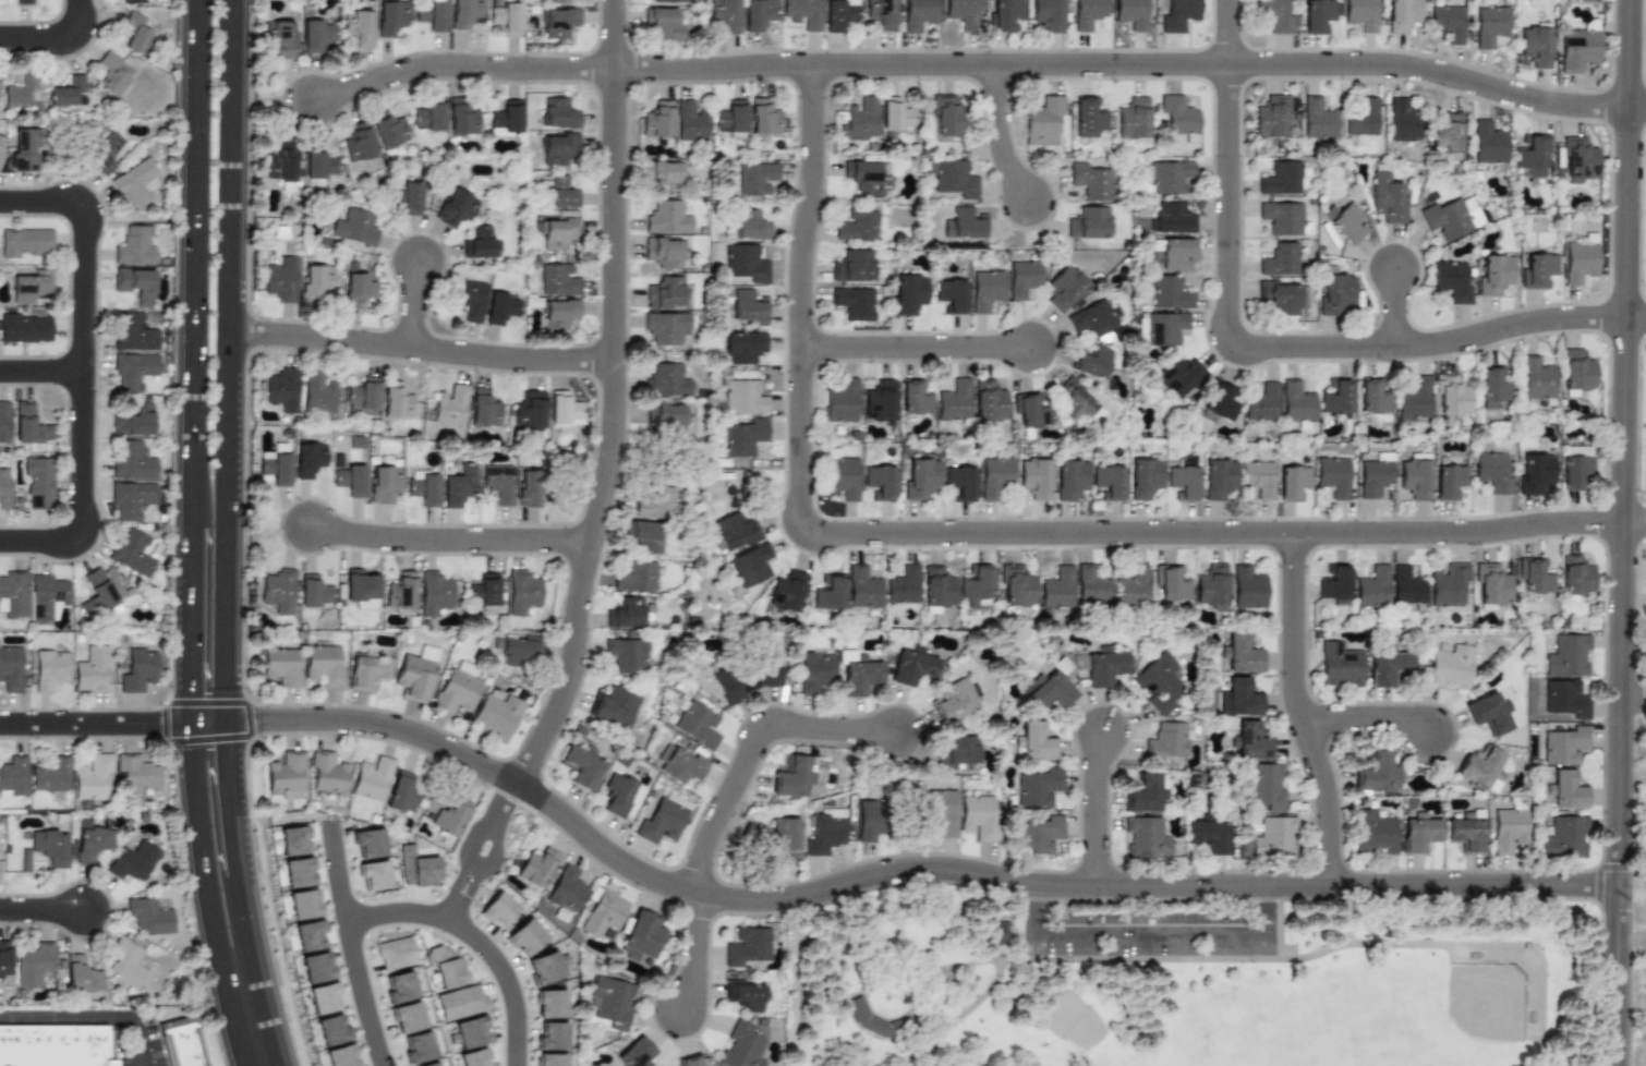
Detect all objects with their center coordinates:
building: (667, 0)
building: (23, 1)
building: (132, 1)
building: (558, 1)
building: (464, 13)
building: (802, 13)
building: (881, 13)
building: (963, 13)
building: (1088, 13)
building: (1131, 13)
building: (433, 14)
building: (725, 14)
building: (758, 14)
building: (838, 14)
building: (918, 14)
building: (1048, 14)
building: (1361, 14)
building: (1005, 15)
building: (1179, 15)
building: (1274, 15)
building: (1318, 15)
building: (1402, 15)
building: (391, 17)
building: (507, 17)
building: (559, 22)
building: (1448, 23)
building: (663, 24)
building: (1489, 25)
building: (358, 26)
building: (136, 33)
building: (316, 35)
road: (55, 38)
building: (279, 38)
building: (1536, 46)
building: (1578, 49)
street lamp: (47, 60)
road: (972, 65)
building: (111, 73)
building: (20, 88)
building: (66, 92)
road: (1638, 108)
building: (559, 113)
building: (895, 113)
building: (945, 114)
building: (1178, 114)
building: (428, 117)
building: (1089, 117)
building: (1271, 117)
building: (461, 118)
building: (763, 118)
building: (860, 118)
building: (1133, 118)
building: (1361, 118)
building: (506, 119)
building: (731, 119)
building: (1317, 119)
building: (657, 120)
building: (1402, 120)
building: (690, 121)
building: (1043, 121)
building: (388, 130)
building: (1447, 133)
road: (1002, 135)
building: (358, 143)
building: (1488, 143)
building: (24, 149)
building: (105, 149)
building: (559, 149)
building: (0, 153)
building: (1532, 155)
building: (1578, 159)
building: (319, 165)
building: (663, 174)
building: (1170, 177)
building: (755, 178)
building: (868, 178)
building: (953, 178)
building: (1280, 179)
street lamp: (59, 180)
building: (1090, 181)
building: (136, 183)
building: (561, 193)
building: (406, 197)
building: (1387, 198)
building: (456, 207)
building: (1452, 217)
building: (667, 218)
building: (1172, 218)
building: (1281, 218)
road: (141, 220)
building: (1345, 221)
building: (1088, 222)
building: (964, 223)
building: (750, 225)
building: (858, 226)
building: (354, 227)
building: (559, 233)
building: (25, 242)
building: (479, 242)
building: (135, 244)
building: (663, 252)
building: (1174, 252)
building: (1280, 259)
building: (1580, 262)
building: (745, 263)
building: (852, 266)
street lamp: (102, 267)
building: (1538, 270)
building: (1493, 274)
building: (1022, 278)
building: (281, 279)
building: (558, 279)
building: (316, 281)
building: (1452, 281)
building: (137, 283)
building: (31, 284)
building: (1065, 288)
building: (358, 290)
building: (985, 290)
building: (665, 292)
building: (1170, 292)
building: (907, 293)
building: (951, 295)
building: (1281, 298)
building: (469, 299)
building: (854, 302)
road: (415, 306)
building: (748, 306)
building: (500, 308)
road: (1397, 308)
building: (559, 313)
road: (1636, 318)
building: (1093, 320)
building: (25, 327)
building: (665, 327)
building: (1165, 328)
building: (134, 330)
road: (1260, 344)
building: (743, 347)
road: (918, 348)
road: (422, 349)
building: (1092, 362)
building: (1577, 370)
road: (84, 371)
building: (134, 371)
road: (41, 372)
building: (1179, 376)
building: (1537, 378)
building: (666, 380)
building: (282, 389)
building: (319, 392)
building: (1452, 396)
building: (363, 397)
building: (743, 397)
building: (916, 397)
building: (1335, 397)
building: (1372, 397)
road: (616, 399)
building: (1415, 399)
building: (955, 400)
building: (989, 400)
building: (1073, 400)
building: (396, 401)
building: (880, 401)
building: (1220, 401)
building: (842, 402)
building: (1262, 402)
building: (1296, 403)
building: (450, 405)
street lamp: (68, 408)
building: (484, 408)
building: (564, 408)
building: (1029, 409)
building: (530, 410)
building: (665, 416)
building: (134, 417)
building: (4, 421)
building: (31, 424)
building: (745, 437)
building: (1576, 451)
building: (308, 459)
building: (132, 460)
building: (275, 468)
building: (1492, 472)
building: (1576, 472)
building: (1536, 473)
building: (1375, 474)
building: (994, 475)
building: (1333, 476)
building: (1034, 477)
building: (1145, 477)
building: (1258, 477)
building: (921, 479)
building: (1069, 479)
building: (1219, 479)
building: (1415, 479)
building: (350, 480)
building: (38, 481)
building: (498, 482)
building: (880, 482)
building: (1109, 482)
building: (1292, 482)
building: (1449, 482)
building: (384, 483)
building: (960, 483)
building: (1183, 483)
building: (459, 485)
road: (226, 486)
building: (4, 487)
building: (424, 487)
building: (530, 488)
road: (192, 489)
building: (132, 499)
building: (655, 504)
road: (1635, 523)
street lamp: (14, 524)
street lamp: (107, 524)
building: (735, 530)
road: (1624, 532)
road: (984, 534)
building: (643, 535)
road: (452, 542)
building: (134, 552)
building: (750, 565)
building: (1575, 574)
building: (1535, 576)
building: (634, 577)
building: (1171, 583)
building: (1335, 584)
building: (1491, 584)
building: (903, 585)
building: (1016, 585)
building: (1091, 585)
building: (1211, 585)
building: (1448, 585)
building: (937, 586)
building: (976, 586)
building: (1131, 586)
building: (1406, 586)
building: (862, 587)
building: (1057, 587)
building: (1248, 587)
building: (1372, 587)
building: (99, 589)
building: (362, 589)
building: (279, 591)
building: (314, 591)
building: (401, 591)
building: (522, 591)
building: (787, 591)
building: (485, 592)
building: (434, 593)
building: (830, 593)
building: (13, 594)
building: (48, 594)
building: (626, 613)
building: (519, 651)
building: (1240, 653)
building: (626, 655)
building: (1566, 655)
building: (324, 665)
building: (1340, 665)
building: (281, 666)
building: (911, 666)
building: (11, 667)
building: (1103, 667)
building: (1387, 667)
building: (1447, 667)
building: (50, 668)
building: (467, 668)
building: (90, 669)
building: (137, 669)
building: (366, 670)
building: (815, 673)
building: (860, 675)
building: (414, 676)
building: (743, 681)
building: (1158, 683)
building: (456, 691)
traffic signals: (191, 692)
street lamp: (251, 692)
building: (1049, 692)
building: (1238, 698)
building: (953, 699)
building: (1565, 699)
road: (1634, 699)
street lamp: (161, 705)
building: (615, 706)
street lamp: (74, 707)
road: (1302, 711)
building: (1489, 713)
building: (497, 715)
road: (1368, 718)
traffic signals: (258, 719)
road: (112, 723)
traffic signals: (157, 723)
building: (697, 724)
building: (1036, 741)
building: (1166, 741)
building: (1251, 741)
building: (1564, 746)
street lamp: (255, 748)
traffic signals: (226, 749)
road: (755, 751)
street lamp: (172, 752)
building: (957, 753)
building: (680, 764)
building: (581, 766)
building: (1481, 770)
building: (328, 773)
building: (1377, 774)
building: (138, 775)
building: (51, 776)
building: (287, 776)
building: (13, 777)
building: (792, 777)
building: (93, 779)
building: (371, 782)
street lamp: (483, 786)
building: (1264, 786)
building: (1039, 787)
building: (1568, 790)
building: (401, 794)
building: (617, 794)
building: (1146, 794)
road: (1099, 809)
building: (942, 811)
building: (450, 816)
building: (979, 816)
building: (662, 821)
building: (867, 821)
building: (1508, 828)
building: (825, 832)
building: (1373, 833)
building: (753, 834)
building: (1419, 834)
building: (1040, 835)
building: (1208, 835)
building: (786, 836)
building: (1273, 837)
building: (1564, 837)
building: (1146, 838)
street lamp: (182, 839)
building: (293, 840)
road: (487, 840)
building: (94, 841)
building: (368, 843)
building: (49, 846)
road: (476, 847)
road: (488, 852)
building: (134, 860)
road: (475, 865)
building: (536, 867)
road: (336, 868)
building: (417, 868)
road: (898, 871)
building: (299, 872)
building: (374, 874)
building: (567, 889)
building: (304, 904)
road: (392, 909)
building: (498, 909)
road: (43, 910)
building: (604, 912)
building: (150, 916)
street lamp: (112, 924)
building: (999, 931)
building: (643, 934)
building: (310, 935)
building: (525, 936)
road: (1153, 936)
street lamp: (276, 943)
building: (748, 946)
road: (699, 952)
building: (395, 953)
building: (5, 962)
building: (35, 964)
building: (129, 964)
building: (316, 967)
building: (547, 967)
building: (446, 968)
building: (82, 973)
road: (505, 977)
park: (1188, 982)
building: (400, 986)
road: (359, 991)
building: (743, 995)
building: (324, 997)
building: (613, 1001)
building: (460, 1002)
building: (550, 1004)
road: (251, 1017)
building: (408, 1017)
building: (869, 1019)
road: (70, 1021)
building: (331, 1029)
building: (472, 1032)
building: (552, 1037)
building: (181, 1045)
building: (52, 1046)
building: (419, 1046)
building: (741, 1046)
road: (140, 1050)
building: (636, 1053)
building: (341, 1056)
building: (474, 1057)
building: (550, 1059)
building: (691, 1061)
building: (431, 1064)

